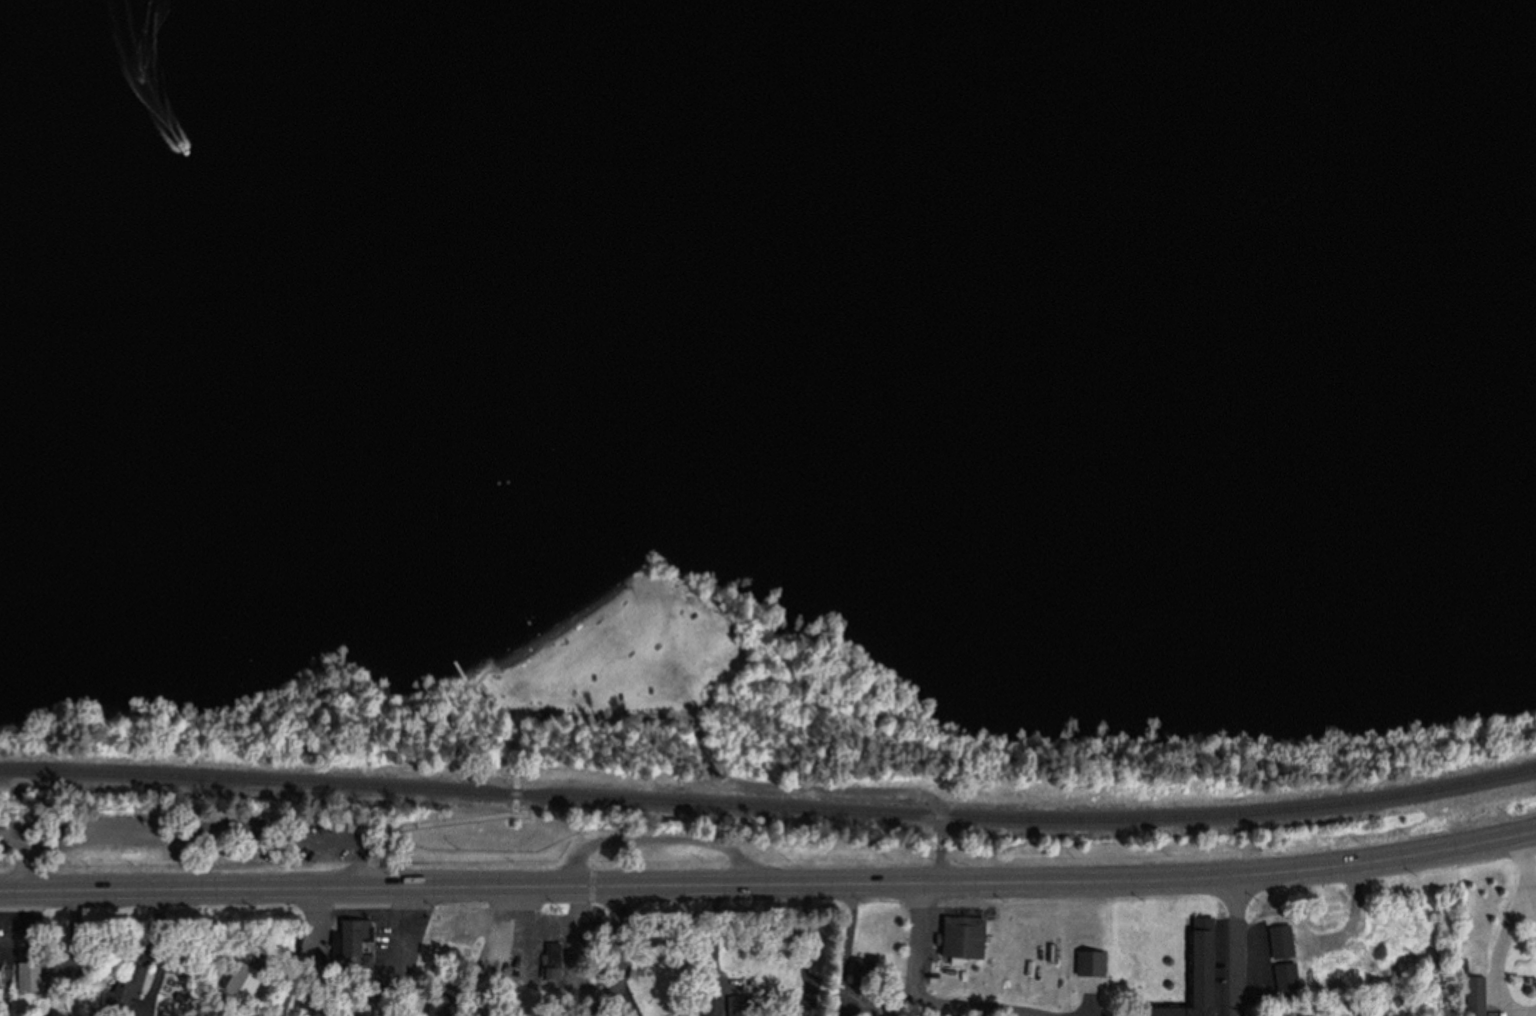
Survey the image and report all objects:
road: (824, 792)
road: (514, 806)
railway: (769, 806)
road: (330, 840)
road: (365, 863)
road: (1522, 866)
road: (769, 884)
road: (1531, 907)
road: (364, 915)
road: (15, 934)
building: (971, 938)
building: (368, 939)
road: (1236, 945)
road: (619, 955)
road: (1494, 955)
building: (1191, 972)
building: (34, 976)
road: (916, 976)
building: (139, 980)
building: (1470, 995)
building: (747, 1006)
road: (1534, 1015)

